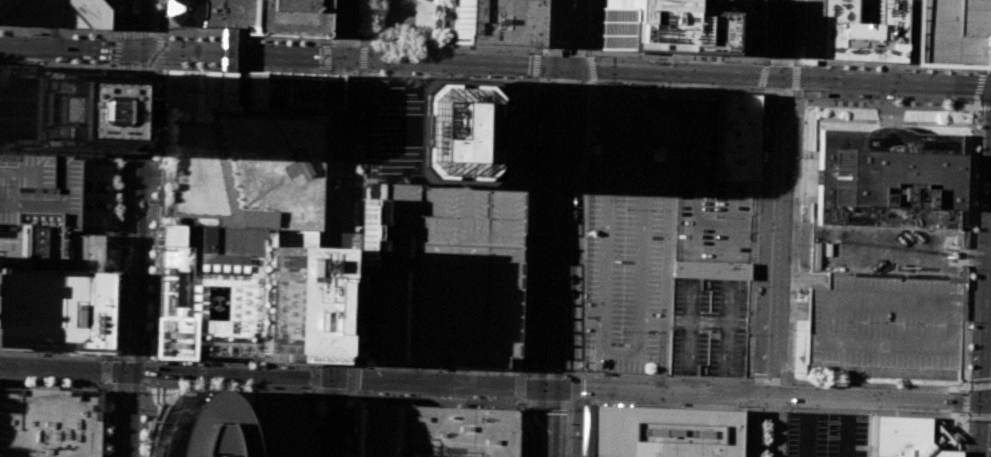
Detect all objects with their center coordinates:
road: (771, 0)
street lamp: (988, 3)
street lamp: (795, 6)
building: (206, 12)
building: (52, 13)
street lamp: (156, 13)
road: (383, 13)
street lamp: (328, 15)
road: (158, 16)
road: (112, 17)
building: (284, 17)
railway: (150, 20)
road: (324, 20)
road: (766, 21)
building: (492, 22)
road: (395, 24)
park: (402, 24)
building: (728, 25)
parking lot: (728, 25)
street lamp: (987, 25)
road: (536, 26)
building: (647, 26)
street lamp: (152, 27)
road: (593, 28)
road: (231, 30)
road: (61, 31)
road: (447, 31)
building: (845, 31)
road: (761, 32)
building: (941, 32)
road: (153, 33)
road: (565, 33)
road: (798, 33)
parking lot: (941, 33)
road: (136, 34)
road: (984, 35)
street lamp: (162, 36)
road: (238, 36)
street lamp: (114, 37)
road: (118, 37)
street lamp: (190, 38)
street lamp: (216, 39)
street lamp: (241, 40)
road: (324, 40)
street lamp: (267, 41)
road: (337, 41)
road: (353, 41)
road: (892, 41)
street lamp: (294, 42)
street lamp: (540, 42)
street lamp: (320, 43)
street lamp: (585, 43)
road: (364, 44)
street lamp: (368, 45)
road: (443, 47)
road: (157, 48)
road: (227, 49)
road: (69, 50)
road: (117, 50)
road: (458, 51)
street lamp: (495, 51)
road: (537, 51)
traffic signals: (138, 53)
road: (577, 53)
road: (325, 55)
street lamp: (594, 55)
road: (676, 55)
street lamp: (625, 57)
traffic signals: (346, 58)
road: (351, 58)
street lamp: (658, 59)
street lamp: (49, 60)
street lamp: (81, 62)
street lamp: (113, 62)
street lamp: (160, 62)
street lamp: (724, 62)
street lamp: (757, 62)
road: (767, 62)
road: (781, 63)
street lamp: (802, 63)
road: (60, 64)
road: (115, 64)
road: (155, 64)
road: (137, 65)
street lamp: (215, 65)
road: (535, 65)
street lamp: (834, 66)
road: (875, 66)
road: (890, 66)
street lamp: (267, 67)
street lamp: (290, 67)
traffic signals: (564, 67)
street lamp: (868, 67)
road: (239, 68)
road: (908, 68)
street lamp: (905, 69)
street lamp: (320, 70)
road: (408, 70)
road: (982, 70)
street lamp: (366, 71)
street lamp: (397, 71)
road: (435, 71)
road: (444, 71)
street lamp: (938, 71)
road: (988, 71)
road: (326, 72)
street lamp: (978, 72)
road: (360, 73)
street lamp: (422, 73)
street lamp: (462, 74)
street lamp: (118, 75)
street lamp: (493, 75)
road: (762, 75)
road: (448, 76)
road: (794, 77)
road: (777, 78)
traffic signals: (779, 79)
road: (534, 80)
railway: (121, 81)
road: (558, 81)
road: (586, 81)
street lamp: (330, 82)
road: (587, 84)
road: (979, 84)
street lamp: (535, 86)
street lamp: (684, 87)
street lamp: (584, 88)
street lamp: (755, 89)
street lamp: (801, 89)
building: (196, 90)
building: (280, 90)
road: (760, 90)
road: (778, 91)
street lamp: (761, 98)
street lamp: (832, 99)
street lamp: (973, 99)
street lamp: (869, 100)
road: (978, 100)
road: (587, 101)
road: (985, 101)
road: (334, 102)
street lamp: (903, 102)
road: (975, 102)
street lamp: (935, 104)
road: (637, 105)
road: (115, 106)
road: (357, 106)
road: (660, 106)
building: (493, 109)
street lamp: (155, 110)
street lamp: (978, 110)
building: (49, 111)
street lamp: (328, 111)
road: (589, 111)
road: (102, 114)
road: (530, 121)
street lamp: (657, 121)
road: (150, 123)
road: (586, 127)
street lamp: (328, 129)
building: (406, 130)
road: (102, 131)
road: (111, 131)
street lamp: (357, 132)
building: (734, 137)
street lamp: (117, 138)
road: (101, 144)
road: (358, 144)
street lamp: (154, 145)
street lamp: (533, 156)
street lamp: (795, 157)
street lamp: (356, 158)
road: (90, 160)
road: (111, 161)
road: (579, 161)
building: (236, 169)
park: (236, 169)
park: (236, 169)
street lamp: (326, 169)
street lamp: (116, 170)
road: (145, 170)
building: (886, 178)
road: (144, 180)
road: (696, 182)
street lamp: (115, 187)
road: (559, 188)
parking lot: (707, 190)
road: (357, 192)
building: (89, 197)
road: (521, 198)
street lamp: (756, 198)
road: (774, 198)
street lamp: (151, 200)
street lamp: (115, 202)
street lamp: (354, 207)
street lamp: (625, 209)
road: (153, 211)
parking lot: (43, 213)
road: (110, 213)
building: (43, 214)
street lamp: (714, 215)
road: (321, 216)
road: (327, 219)
road: (731, 221)
street lamp: (324, 222)
road: (733, 224)
road: (519, 226)
road: (108, 227)
railway: (124, 228)
road: (130, 228)
railway: (140, 228)
road: (339, 228)
road: (530, 228)
street lamp: (530, 228)
street lamp: (578, 228)
road: (93, 230)
road: (109, 230)
street lamp: (114, 230)
parking lot: (624, 230)
building: (366, 232)
road: (668, 233)
road: (326, 240)
street lamp: (352, 240)
building: (291, 241)
road: (753, 241)
road: (535, 242)
street lamp: (791, 243)
road: (101, 246)
street lamp: (149, 247)
road: (118, 249)
road: (969, 249)
road: (102, 253)
road: (535, 254)
building: (446, 258)
parking lot: (446, 258)
road: (107, 259)
road: (323, 259)
road: (325, 267)
building: (710, 269)
street lamp: (147, 278)
street lamp: (351, 282)
road: (355, 284)
street lamp: (755, 285)
building: (209, 290)
road: (793, 298)
street lamp: (527, 299)
road: (354, 300)
building: (288, 304)
street lamp: (321, 305)
road: (512, 306)
road: (574, 306)
building: (51, 309)
road: (532, 309)
road: (578, 310)
road: (554, 314)
street lamp: (145, 316)
road: (602, 316)
road: (578, 319)
road: (528, 320)
road: (554, 321)
road: (535, 322)
road: (652, 322)
building: (884, 325)
parking garage: (884, 325)
street lamp: (349, 328)
street lamp: (788, 329)
street lamp: (620, 331)
road: (578, 340)
street lamp: (320, 343)
street lamp: (144, 346)
street lamp: (108, 348)
road: (621, 350)
road: (55, 353)
road: (233, 354)
street lamp: (348, 355)
road: (552, 355)
road: (126, 357)
road: (232, 359)
road: (147, 360)
road: (354, 360)
road: (328, 361)
road: (341, 361)
road: (350, 361)
road: (352, 363)
street lamp: (227, 364)
road: (315, 364)
street lamp: (254, 365)
road: (62, 366)
street lamp: (284, 366)
street lamp: (309, 366)
street lamp: (524, 366)
street lamp: (574, 368)
traffic signals: (125, 369)
road: (425, 369)
road: (518, 369)
road: (146, 370)
street lamp: (439, 370)
road: (103, 371)
road: (390, 371)
street lamp: (780, 371)
road: (522, 372)
road: (579, 372)
road: (228, 373)
road: (417, 373)
road: (989, 373)
road: (451, 374)
road: (461, 374)
road: (473, 374)
road: (618, 374)
road: (314, 376)
road: (351, 376)
traffic signals: (333, 378)
road: (375, 379)
road: (649, 379)
street lamp: (680, 379)
street lamp: (35, 381)
street lamp: (739, 381)
street lamp: (967, 381)
road: (434, 382)
road: (456, 383)
street lamp: (791, 383)
street lamp: (71, 384)
road: (505, 385)
road: (979, 385)
road: (230, 386)
road: (54, 387)
road: (124, 387)
road: (314, 387)
traffic signals: (551, 387)
road: (142, 388)
road: (965, 388)
street lamp: (108, 390)
road: (317, 390)
street lamp: (958, 390)
street lamp: (141, 392)
road: (332, 393)
street lamp: (386, 393)
road: (347, 394)
street lamp: (316, 395)
road: (454, 395)
road: (769, 396)
street lamp: (473, 397)
road: (578, 397)
road: (434, 398)
road: (578, 401)
road: (965, 401)
traffic signals: (988, 401)
road: (989, 401)
street lamp: (640, 402)
road: (518, 403)
road: (216, 404)
road: (571, 404)
street lamp: (739, 406)
street lamp: (521, 407)
street lamp: (791, 407)
road: (771, 408)
street lamp: (568, 410)
road: (962, 416)
road: (979, 416)
road: (140, 417)
road: (143, 417)
road: (102, 418)
road: (99, 419)
street lamp: (965, 419)
road: (312, 421)
road: (548, 421)
road: (517, 422)
building: (47, 423)
road: (349, 423)
road: (753, 425)
building: (274, 426)
road: (747, 426)
road: (776, 426)
road: (808, 426)
road: (574, 427)
road: (847, 427)
building: (187, 428)
road: (986, 428)
road: (517, 430)
street lamp: (315, 431)
road: (348, 431)
building: (432, 431)
building: (656, 431)
road: (139, 433)
parking lot: (826, 435)
road: (961, 436)
building: (903, 438)
street lamp: (140, 442)
road: (139, 449)
street lamp: (963, 449)
road: (310, 455)
street lamp: (103, 456)

